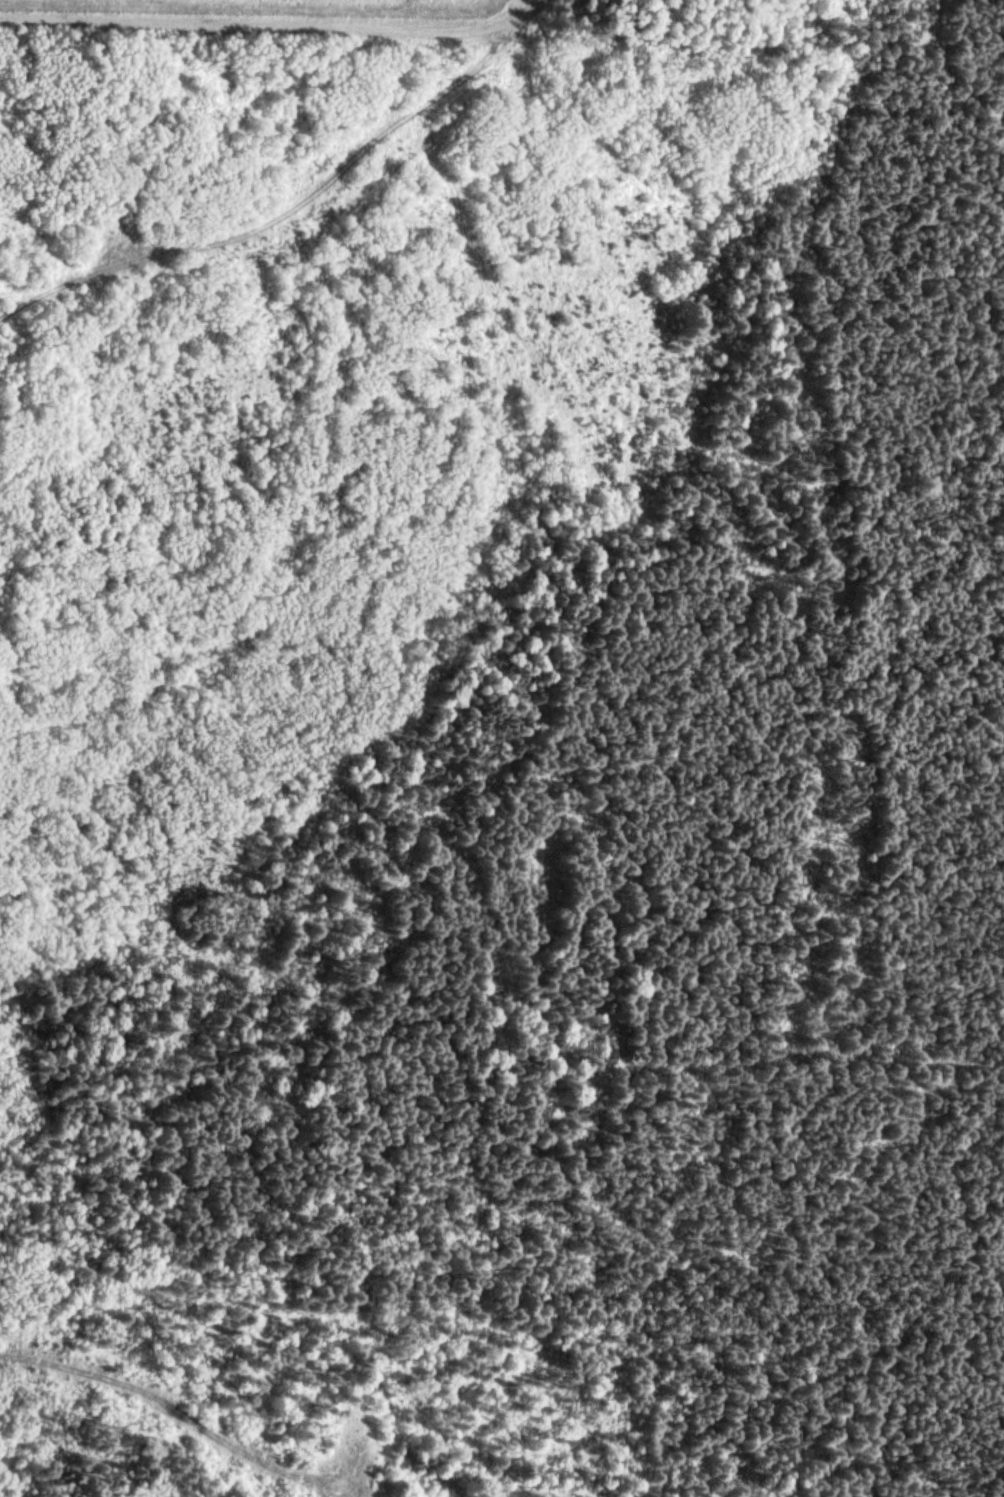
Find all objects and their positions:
road: (271, 27)
road: (275, 211)

